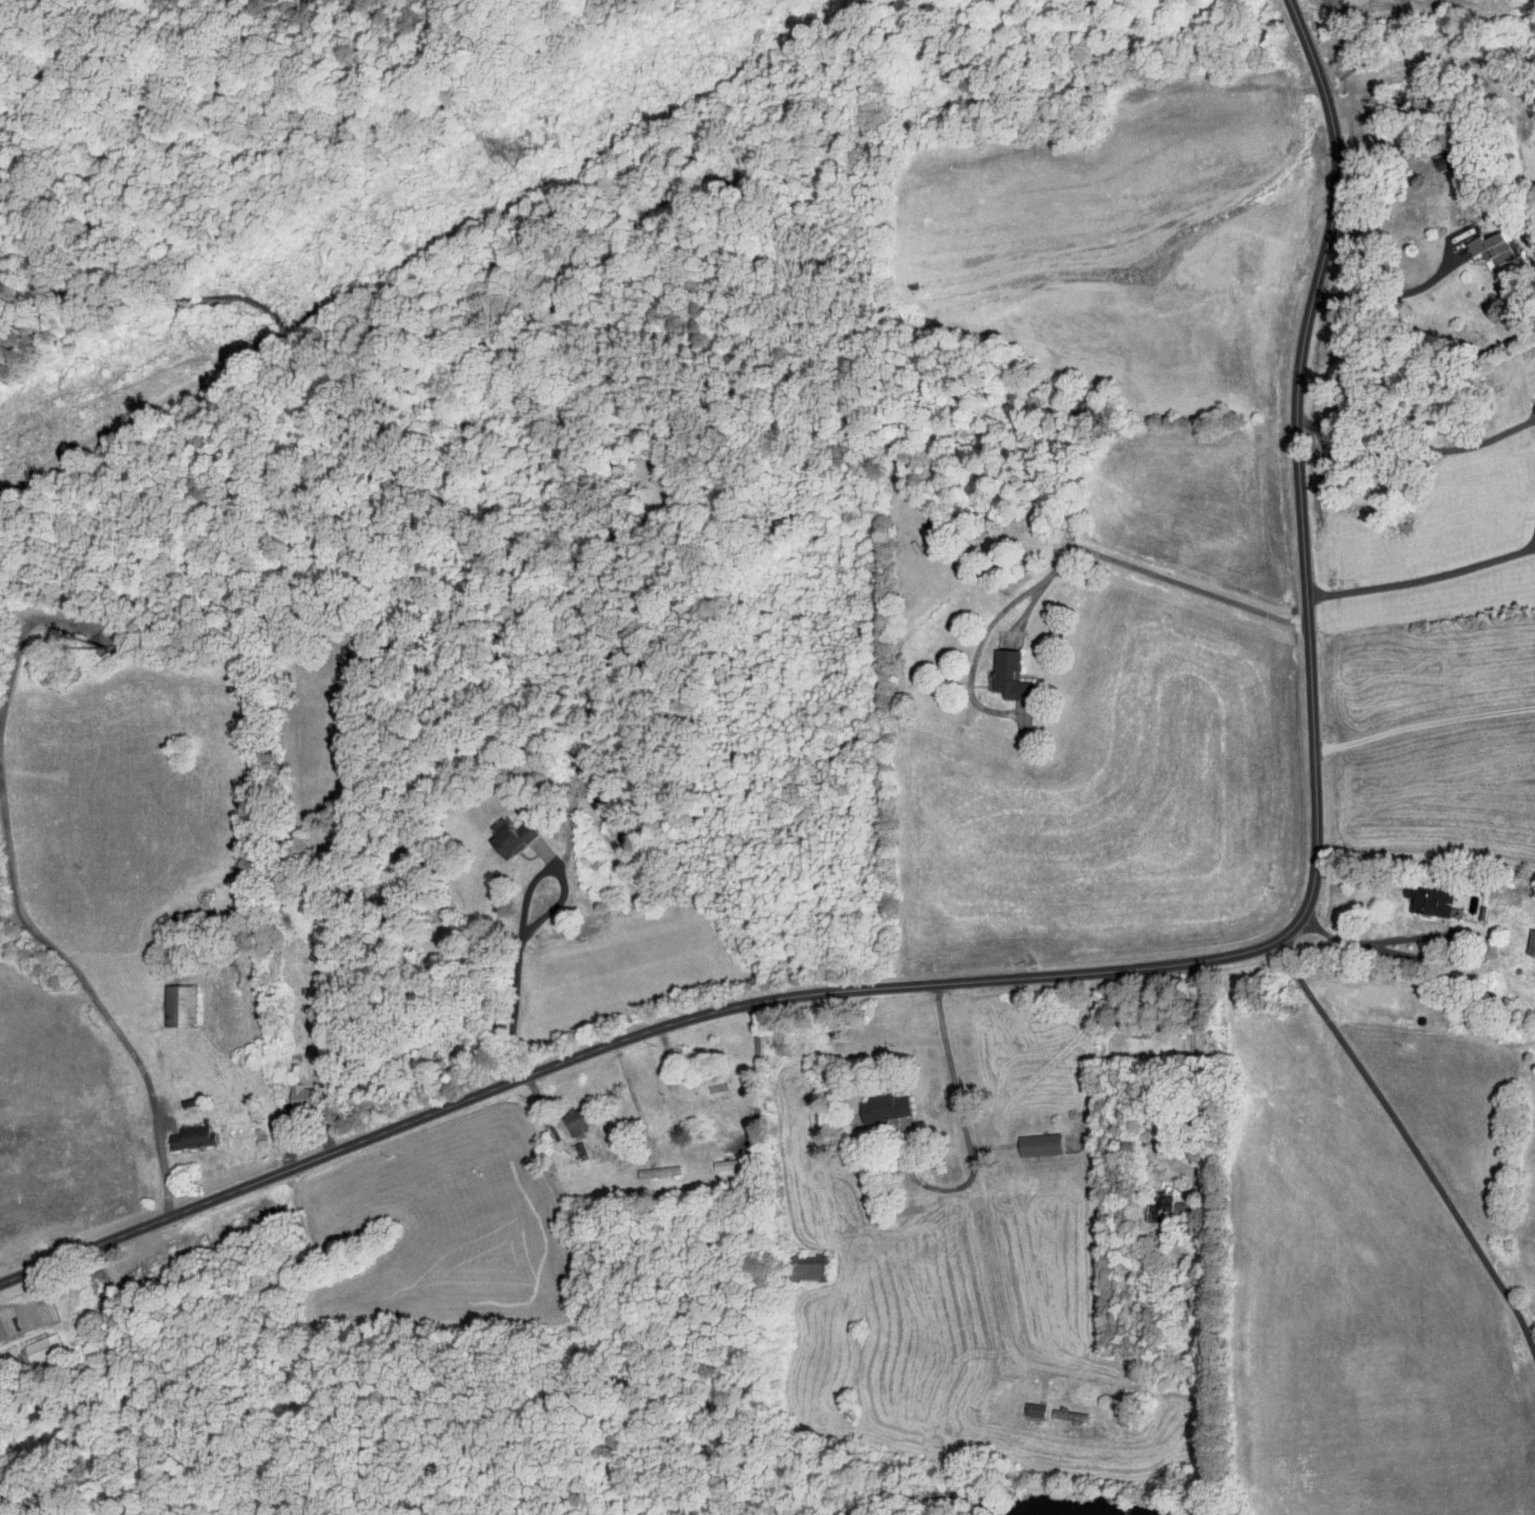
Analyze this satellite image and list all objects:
power tower: (518, 150)
building: (1445, 161)
building: (1494, 247)
road: (1405, 289)
road: (1405, 457)
building: (664, 480)
road: (1145, 569)
road: (1422, 579)
road: (33, 614)
road: (1424, 724)
building: (513, 837)
building: (1436, 903)
road: (521, 925)
road: (1374, 939)
building: (1532, 943)
road: (1096, 971)
building: (180, 1004)
road: (109, 1010)
road: (1067, 1052)
road: (1192, 1078)
building: (301, 1095)
building: (887, 1108)
building: (577, 1118)
road: (298, 1133)
building: (191, 1136)
road: (1409, 1139)
building: (1041, 1143)
road: (720, 1150)
building: (731, 1163)
road: (195, 1170)
building: (659, 1172)
road: (925, 1182)
road: (975, 1199)
building: (1163, 1203)
building: (810, 1266)
road: (20, 1319)
building: (43, 1348)

